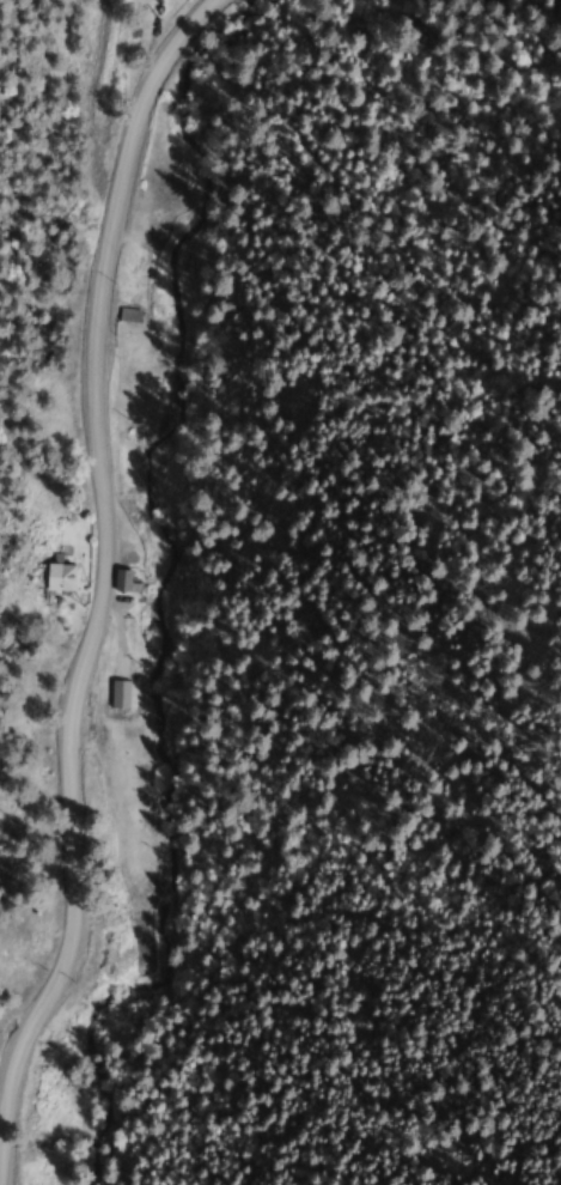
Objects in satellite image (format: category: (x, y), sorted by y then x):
building: (127, 316)
road: (100, 553)
building: (55, 578)
building: (121, 581)

